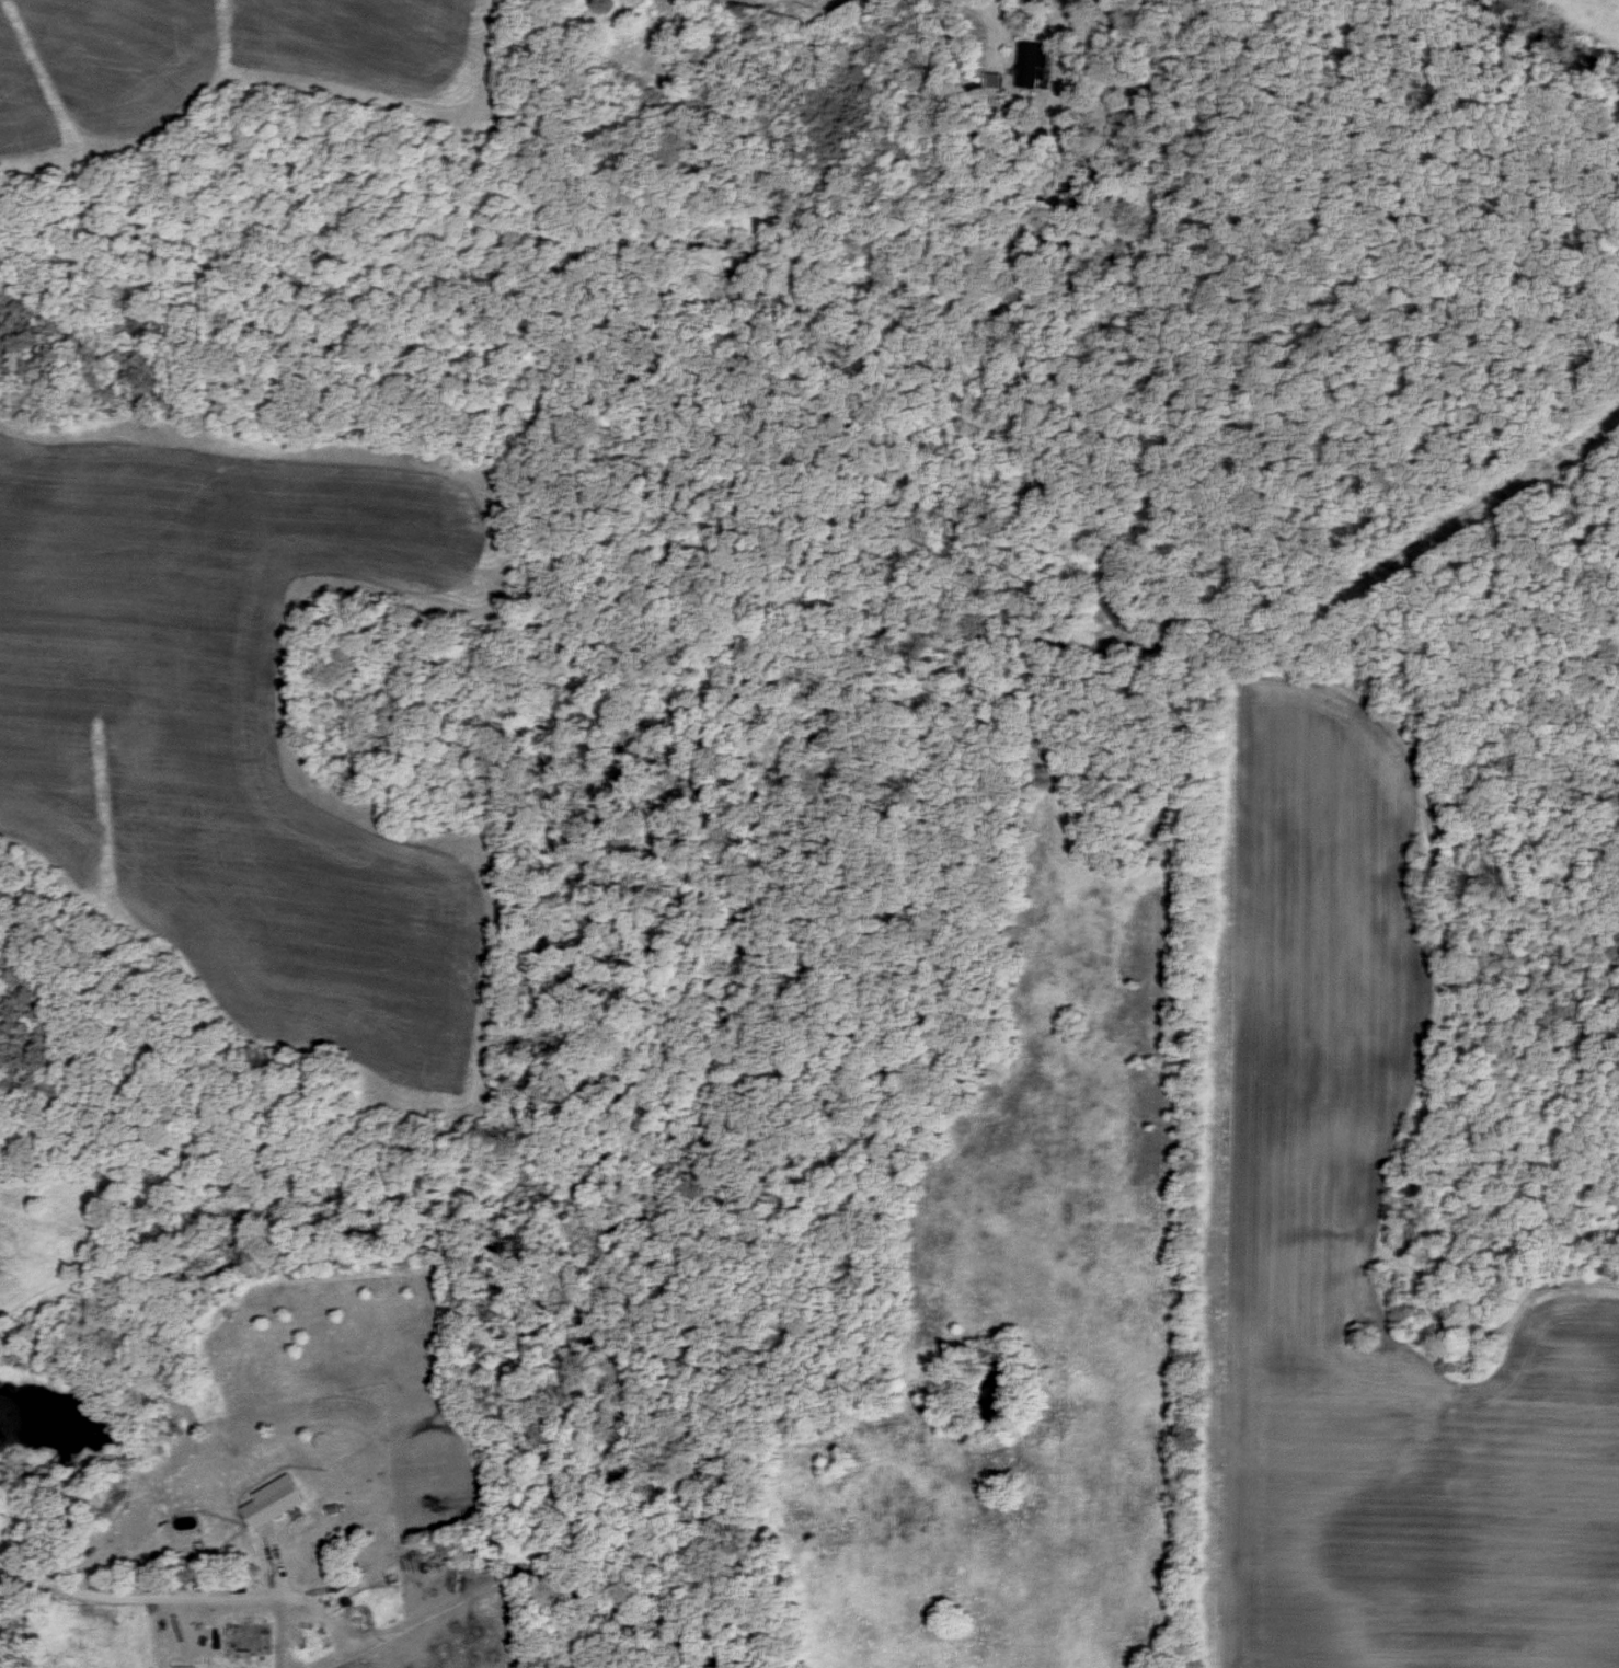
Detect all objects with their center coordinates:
building: (1033, 67)
building: (1119, 611)
road: (1334, 677)
road: (140, 1595)

